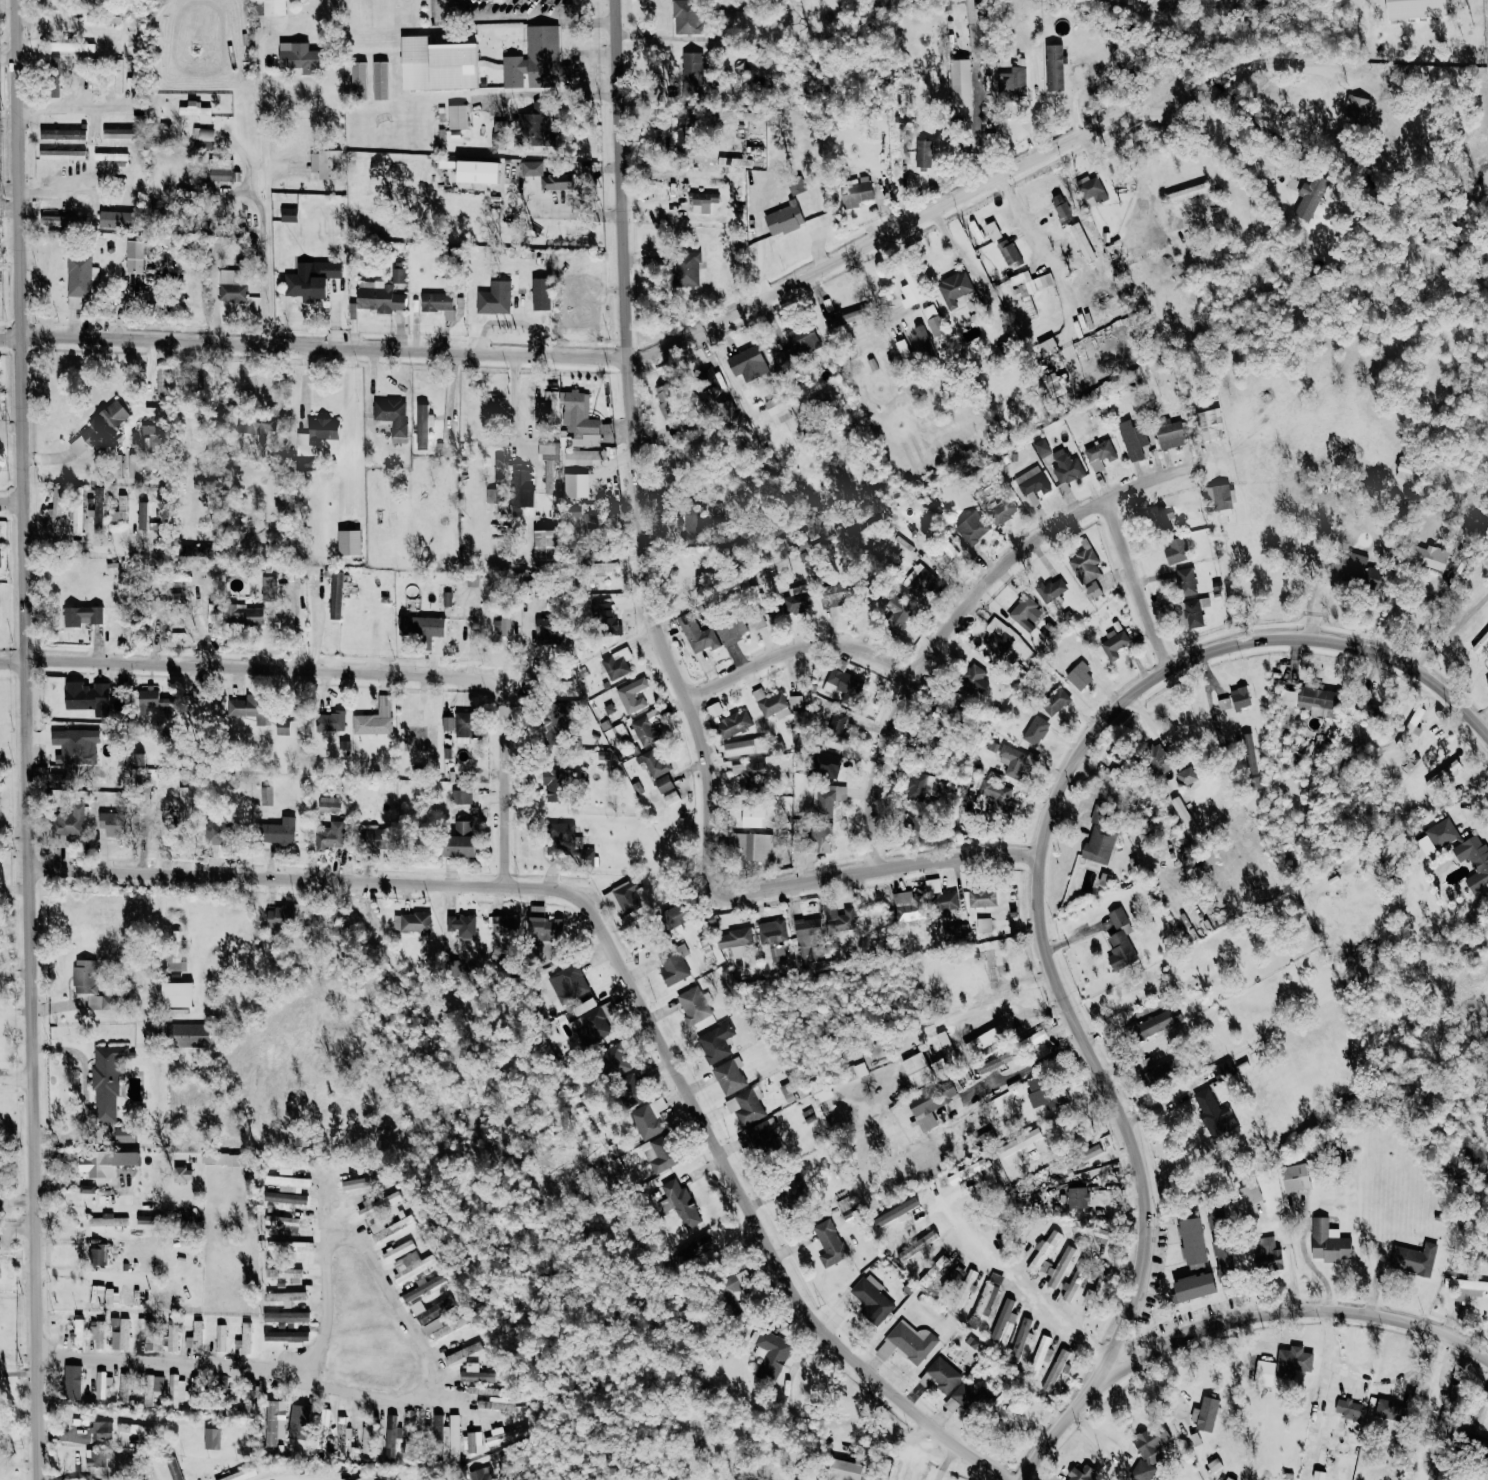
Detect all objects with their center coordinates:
building: (269, 7)
building: (1416, 9)
building: (686, 17)
road: (521, 19)
building: (71, 47)
building: (299, 57)
building: (544, 57)
building: (437, 65)
building: (691, 69)
building: (512, 72)
building: (118, 76)
road: (583, 76)
building: (358, 81)
building: (380, 81)
building: (1014, 81)
building: (960, 83)
building: (96, 86)
road: (1228, 88)
road: (541, 93)
road: (68, 107)
building: (1358, 107)
building: (195, 111)
building: (735, 115)
building: (457, 117)
building: (534, 121)
building: (62, 133)
building: (119, 133)
building: (497, 135)
building: (203, 138)
building: (682, 140)
road: (1235, 153)
building: (923, 154)
building: (62, 155)
building: (112, 158)
building: (326, 164)
building: (532, 168)
building: (477, 172)
building: (220, 175)
road: (1134, 178)
building: (555, 182)
building: (1086, 190)
building: (859, 193)
building: (1186, 193)
road: (266, 195)
building: (1310, 197)
building: (700, 203)
building: (1060, 207)
building: (288, 214)
building: (117, 219)
building: (783, 219)
building: (63, 221)
building: (992, 231)
building: (1082, 242)
building: (1008, 252)
building: (134, 257)
road: (1052, 261)
building: (686, 269)
building: (397, 272)
building: (79, 279)
building: (311, 280)
building: (232, 285)
building: (910, 289)
building: (954, 289)
building: (540, 294)
building: (1029, 297)
building: (376, 298)
building: (494, 298)
building: (438, 303)
building: (933, 321)
road: (11, 336)
building: (802, 340)
building: (923, 340)
building: (1047, 346)
road: (629, 353)
road: (606, 355)
building: (747, 364)
building: (207, 378)
building: (707, 378)
building: (160, 382)
building: (665, 399)
building: (775, 405)
building: (728, 408)
building: (421, 411)
building: (392, 417)
building: (257, 420)
building: (578, 421)
building: (103, 423)
building: (1207, 425)
road: (512, 429)
road: (197, 432)
building: (1169, 433)
road: (371, 436)
building: (1133, 440)
building: (315, 441)
building: (421, 441)
building: (1041, 447)
building: (1099, 455)
building: (582, 458)
building: (548, 460)
building: (1066, 467)
building: (1408, 469)
building: (1033, 484)
road: (14, 492)
building: (1219, 495)
building: (98, 507)
building: (77, 509)
building: (120, 509)
building: (1002, 510)
building: (573, 511)
building: (54, 514)
building: (142, 515)
building: (1161, 518)
building: (590, 522)
building: (690, 528)
building: (972, 528)
building: (349, 542)
road: (90, 547)
building: (545, 547)
building: (949, 549)
building: (1176, 550)
building: (1431, 557)
building: (1085, 566)
building: (1354, 568)
building: (918, 580)
building: (1186, 581)
road: (1140, 582)
building: (268, 587)
building: (1052, 589)
building: (1093, 590)
building: (833, 594)
building: (336, 595)
building: (446, 598)
building: (797, 602)
building: (898, 607)
building: (1026, 612)
building: (1190, 612)
road: (963, 613)
building: (242, 614)
building: (83, 615)
building: (605, 618)
building: (503, 624)
building: (421, 626)
building: (730, 626)
building: (548, 631)
road: (1451, 631)
building: (698, 633)
building: (998, 636)
building: (1114, 643)
road: (803, 644)
road: (15, 661)
building: (617, 662)
road: (268, 668)
building: (1079, 675)
building: (974, 679)
building: (844, 683)
building: (551, 684)
building: (1487, 685)
building: (632, 693)
building: (85, 695)
building: (1240, 698)
building: (1313, 700)
building: (1055, 701)
building: (769, 702)
building: (795, 702)
road: (1209, 702)
building: (1224, 703)
building: (249, 707)
building: (375, 718)
building: (554, 720)
building: (330, 721)
building: (447, 723)
building: (462, 723)
building: (836, 723)
building: (733, 724)
building: (647, 725)
building: (284, 727)
building: (1036, 730)
building: (619, 731)
road: (31, 740)
building: (75, 744)
building: (742, 746)
building: (1249, 753)
building: (1157, 758)
building: (1015, 761)
building: (653, 762)
building: (826, 763)
building: (750, 774)
building: (1443, 774)
building: (1186, 775)
building: (663, 783)
building: (1255, 783)
building: (553, 784)
building: (912, 785)
road: (510, 787)
building: (266, 795)
building: (461, 796)
building: (671, 797)
road: (708, 797)
building: (827, 798)
building: (182, 802)
building: (329, 804)
building: (752, 816)
building: (67, 823)
building: (112, 823)
building: (912, 823)
building: (275, 831)
building: (213, 832)
building: (329, 835)
building: (821, 836)
building: (1099, 838)
building: (371, 839)
building: (459, 840)
road: (16, 841)
building: (573, 843)
building: (755, 845)
road: (1046, 845)
road: (881, 870)
building: (982, 898)
building: (624, 899)
building: (941, 899)
building: (908, 906)
building: (280, 916)
building: (674, 916)
building: (1117, 917)
building: (837, 918)
building: (412, 922)
building: (462, 925)
building: (505, 925)
building: (543, 925)
building: (984, 925)
building: (953, 933)
building: (773, 936)
building: (734, 938)
building: (809, 940)
building: (1120, 950)
building: (174, 955)
building: (673, 967)
building: (990, 968)
building: (83, 976)
road: (628, 979)
building: (570, 983)
building: (176, 994)
building: (97, 1002)
building: (693, 1005)
building: (592, 1021)
building: (1152, 1025)
building: (187, 1035)
building: (984, 1039)
building: (715, 1043)
building: (616, 1059)
building: (994, 1062)
road: (1029, 1066)
building: (917, 1070)
building: (730, 1076)
road: (19, 1077)
building: (106, 1081)
building: (629, 1090)
building: (820, 1090)
building: (787, 1092)
building: (1045, 1095)
building: (745, 1107)
building: (928, 1108)
building: (1215, 1116)
building: (646, 1122)
road: (1082, 1128)
building: (124, 1135)
building: (762, 1136)
building: (1022, 1145)
building: (658, 1154)
building: (1084, 1155)
building: (233, 1163)
building: (288, 1164)
building: (97, 1165)
building: (969, 1170)
building: (182, 1174)
building: (1295, 1177)
building: (288, 1180)
building: (363, 1180)
building: (86, 1188)
building: (791, 1190)
building: (1250, 1194)
building: (284, 1197)
building: (1078, 1197)
building: (379, 1203)
building: (678, 1203)
building: (154, 1217)
building: (107, 1220)
building: (282, 1221)
road: (16, 1224)
building: (391, 1227)
building: (1096, 1232)
building: (1328, 1242)
building: (829, 1243)
building: (1193, 1243)
building: (288, 1244)
building: (1045, 1247)
building: (398, 1249)
building: (703, 1250)
building: (101, 1252)
building: (1269, 1254)
building: (1414, 1259)
building: (414, 1266)
building: (1060, 1266)
building: (935, 1270)
building: (286, 1271)
building: (957, 1273)
building: (1075, 1280)
building: (425, 1284)
building: (1193, 1287)
building: (1466, 1288)
building: (732, 1293)
building: (97, 1294)
building: (287, 1295)
building: (1095, 1296)
road: (1043, 1298)
building: (871, 1301)
building: (983, 1302)
building: (436, 1307)
building: (287, 1315)
building: (1001, 1320)
building: (113, 1321)
road: (1230, 1321)
building: (450, 1326)
building: (78, 1327)
building: (123, 1332)
building: (148, 1332)
building: (173, 1333)
building: (96, 1334)
building: (197, 1334)
building: (218, 1334)
building: (287, 1335)
building: (245, 1336)
building: (907, 1343)
building: (463, 1351)
building: (1039, 1354)
building: (769, 1355)
road: (437, 1362)
building: (1286, 1363)
road: (269, 1367)
building: (1055, 1370)
building: (1264, 1372)
building: (480, 1375)
building: (940, 1376)
road: (1366, 1381)
building: (71, 1382)
building: (80, 1383)
building: (100, 1386)
building: (121, 1388)
building: (149, 1389)
building: (174, 1390)
building: (488, 1390)
building: (194, 1391)
building: (220, 1391)
building: (249, 1395)
building: (965, 1399)
road: (1427, 1401)
building: (496, 1404)
building: (1348, 1408)
building: (1391, 1410)
building: (1205, 1414)
building: (273, 1421)
building: (134, 1427)
building: (102, 1428)
building: (437, 1428)
building: (322, 1430)
building: (341, 1435)
building: (454, 1435)
building: (507, 1435)
building: (391, 1436)
building: (366, 1440)
building: (471, 1442)
building: (413, 1445)
building: (1149, 1451)
building: (96, 1456)
building: (173, 1468)
building: (843, 1470)
building: (149, 1473)
building: (1081, 1473)
building: (239, 1474)
building: (479, 1474)
road: (298, 1476)
building: (366, 1477)
building: (1228, 1478)

